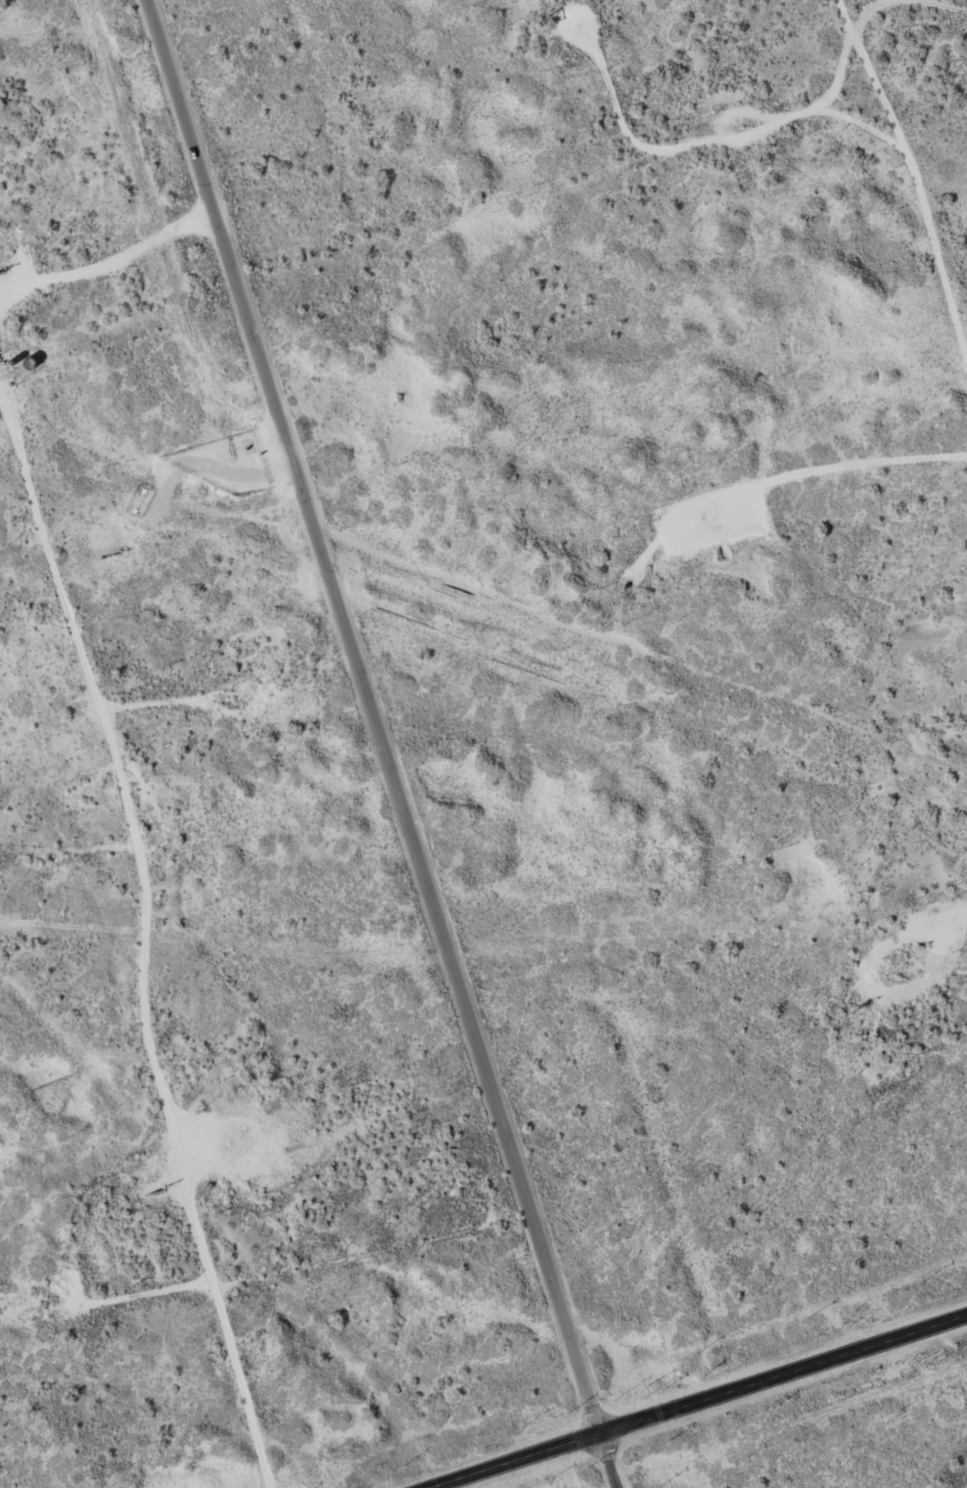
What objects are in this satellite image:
road: (916, 32)
road: (904, 203)
road: (771, 475)
road: (379, 739)
road: (154, 920)
road: (691, 1400)

